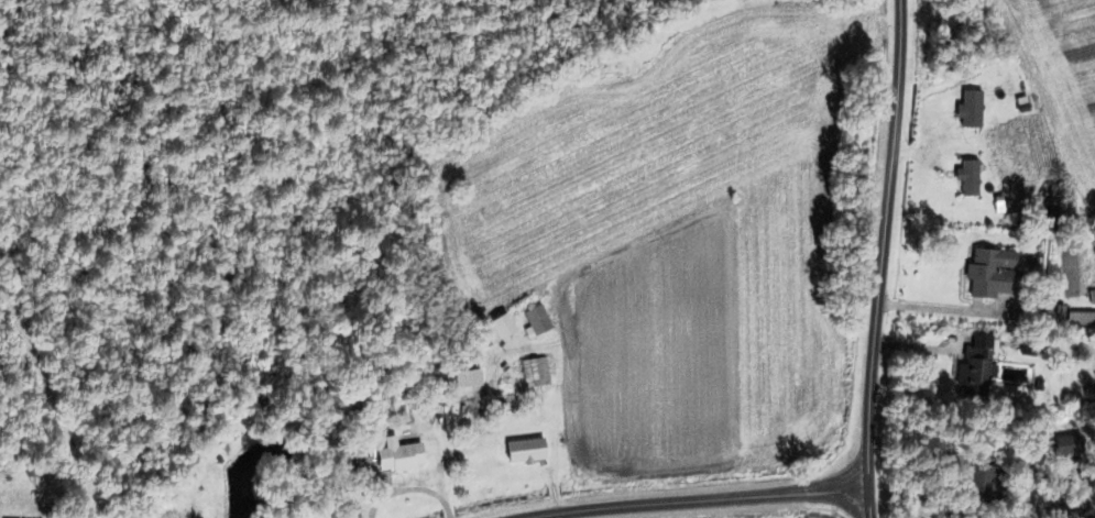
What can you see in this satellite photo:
building: (1048, 221)
road: (879, 258)
building: (989, 273)
building: (1051, 315)
building: (1080, 318)
building: (535, 320)
building: (1032, 346)
building: (974, 367)
building: (534, 373)
building: (1070, 444)
building: (524, 450)
building: (396, 455)
building: (976, 477)
road: (700, 500)

